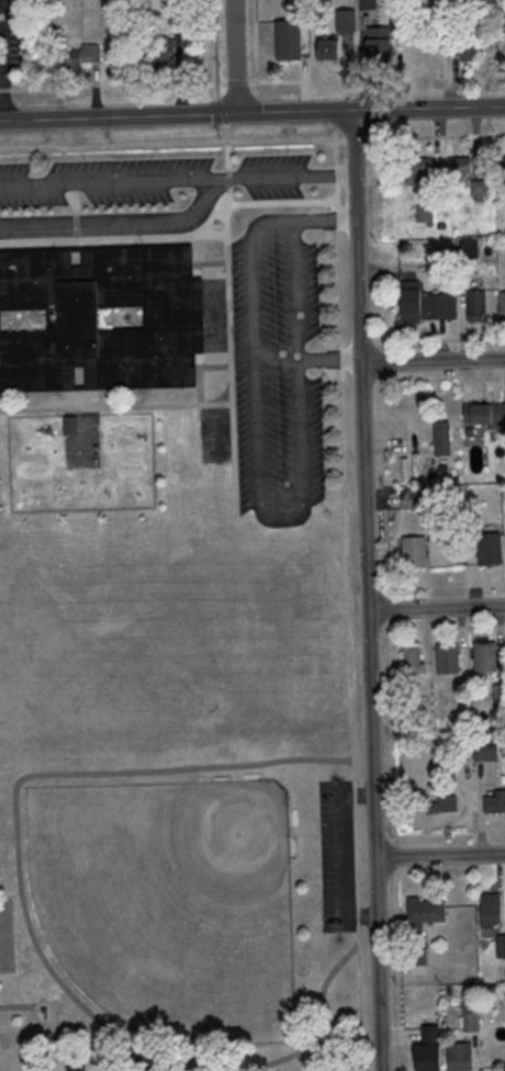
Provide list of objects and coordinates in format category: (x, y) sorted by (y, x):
building: (368, 3)
building: (346, 20)
parking lot: (11, 34)
building: (289, 41)
building: (380, 45)
building: (160, 50)
building: (326, 50)
building: (468, 50)
building: (72, 57)
road: (235, 57)
road: (216, 63)
road: (2, 69)
road: (29, 89)
road: (5, 90)
road: (251, 113)
road: (436, 136)
road: (356, 138)
road: (171, 144)
building: (504, 165)
building: (463, 166)
building: (418, 170)
road: (177, 178)
building: (479, 189)
building: (426, 214)
road: (324, 218)
road: (115, 219)
road: (337, 235)
building: (469, 250)
building: (426, 305)
building: (478, 307)
building: (502, 308)
building: (175, 319)
road: (439, 339)
road: (367, 341)
road: (340, 357)
road: (307, 358)
road: (433, 362)
parking lot: (250, 379)
building: (489, 416)
building: (442, 439)
road: (362, 484)
building: (409, 498)
road: (263, 510)
building: (469, 515)
building: (490, 551)
building: (415, 553)
road: (347, 563)
road: (436, 608)
building: (485, 658)
building: (449, 659)
building: (414, 661)
building: (486, 749)
park: (177, 801)
building: (445, 805)
building: (494, 805)
road: (16, 821)
road: (439, 856)
parking lot: (336, 857)
park: (170, 903)
building: (492, 912)
building: (426, 914)
park: (7, 934)
building: (501, 945)
road: (378, 965)
road: (359, 1007)
building: (470, 1021)
building: (460, 1057)
building: (429, 1058)

